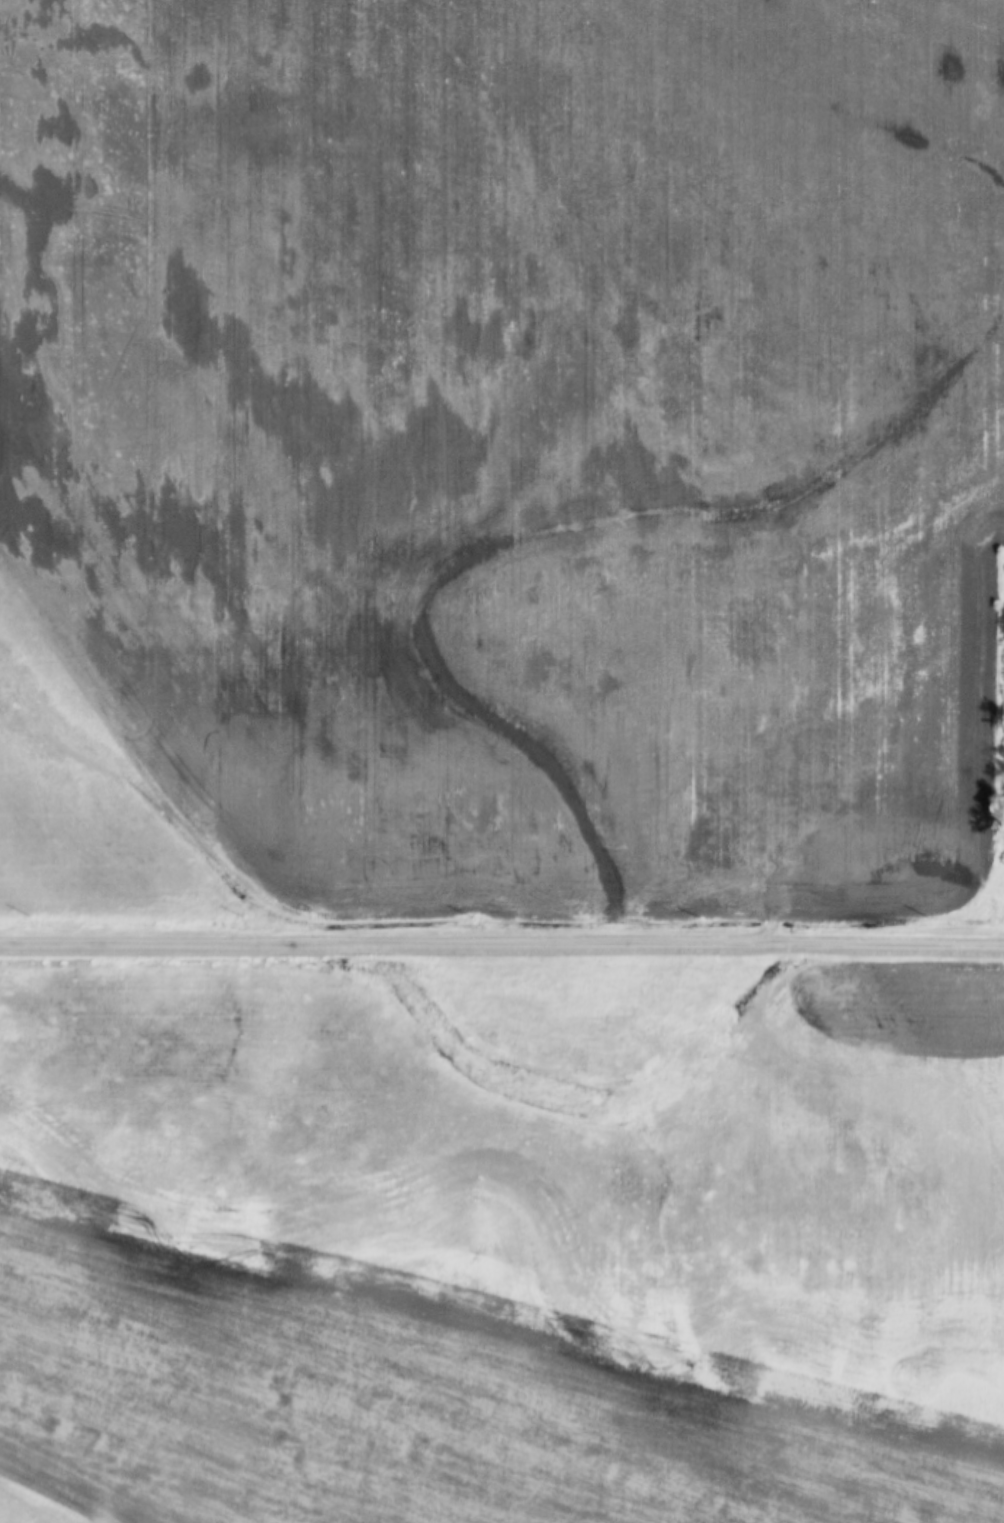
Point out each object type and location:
road: (502, 946)

